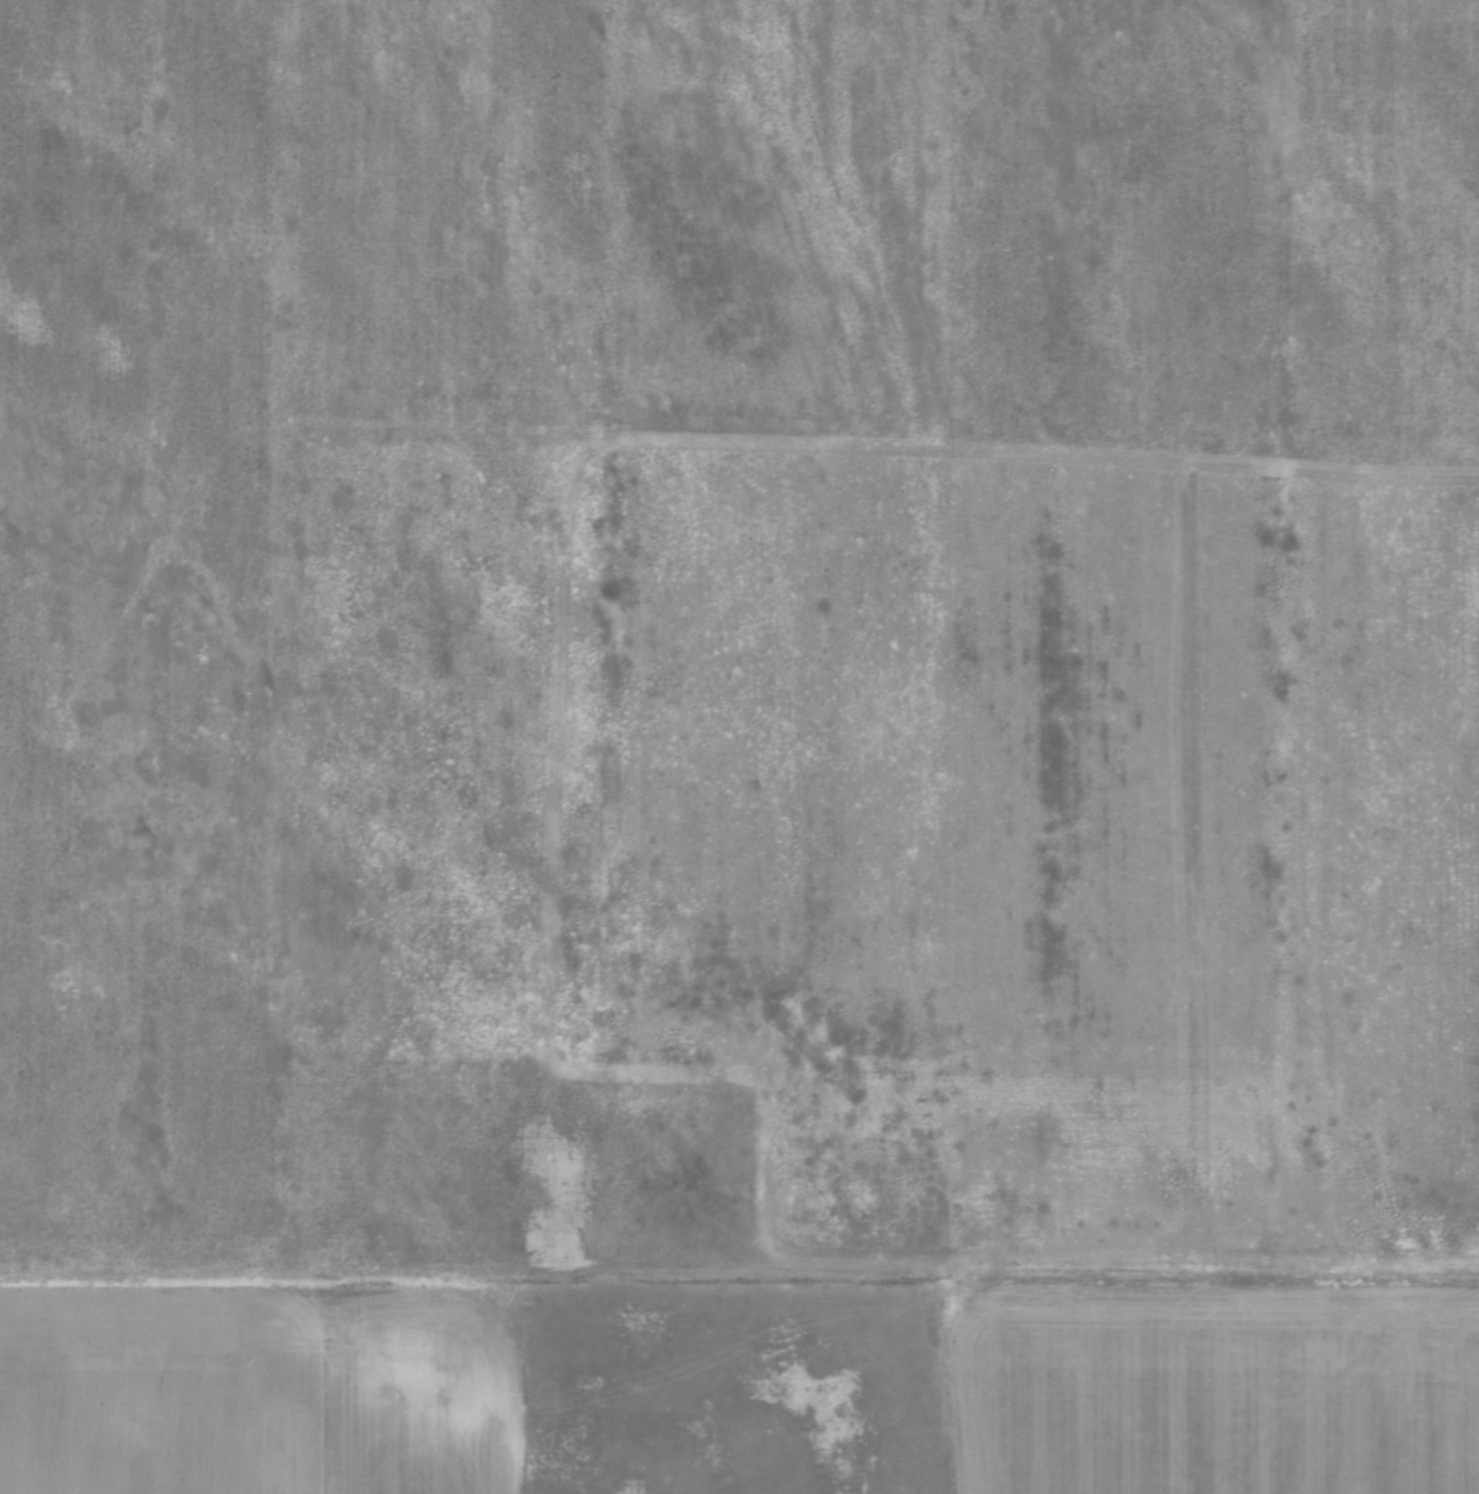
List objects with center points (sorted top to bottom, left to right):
crop: (739, 747)

